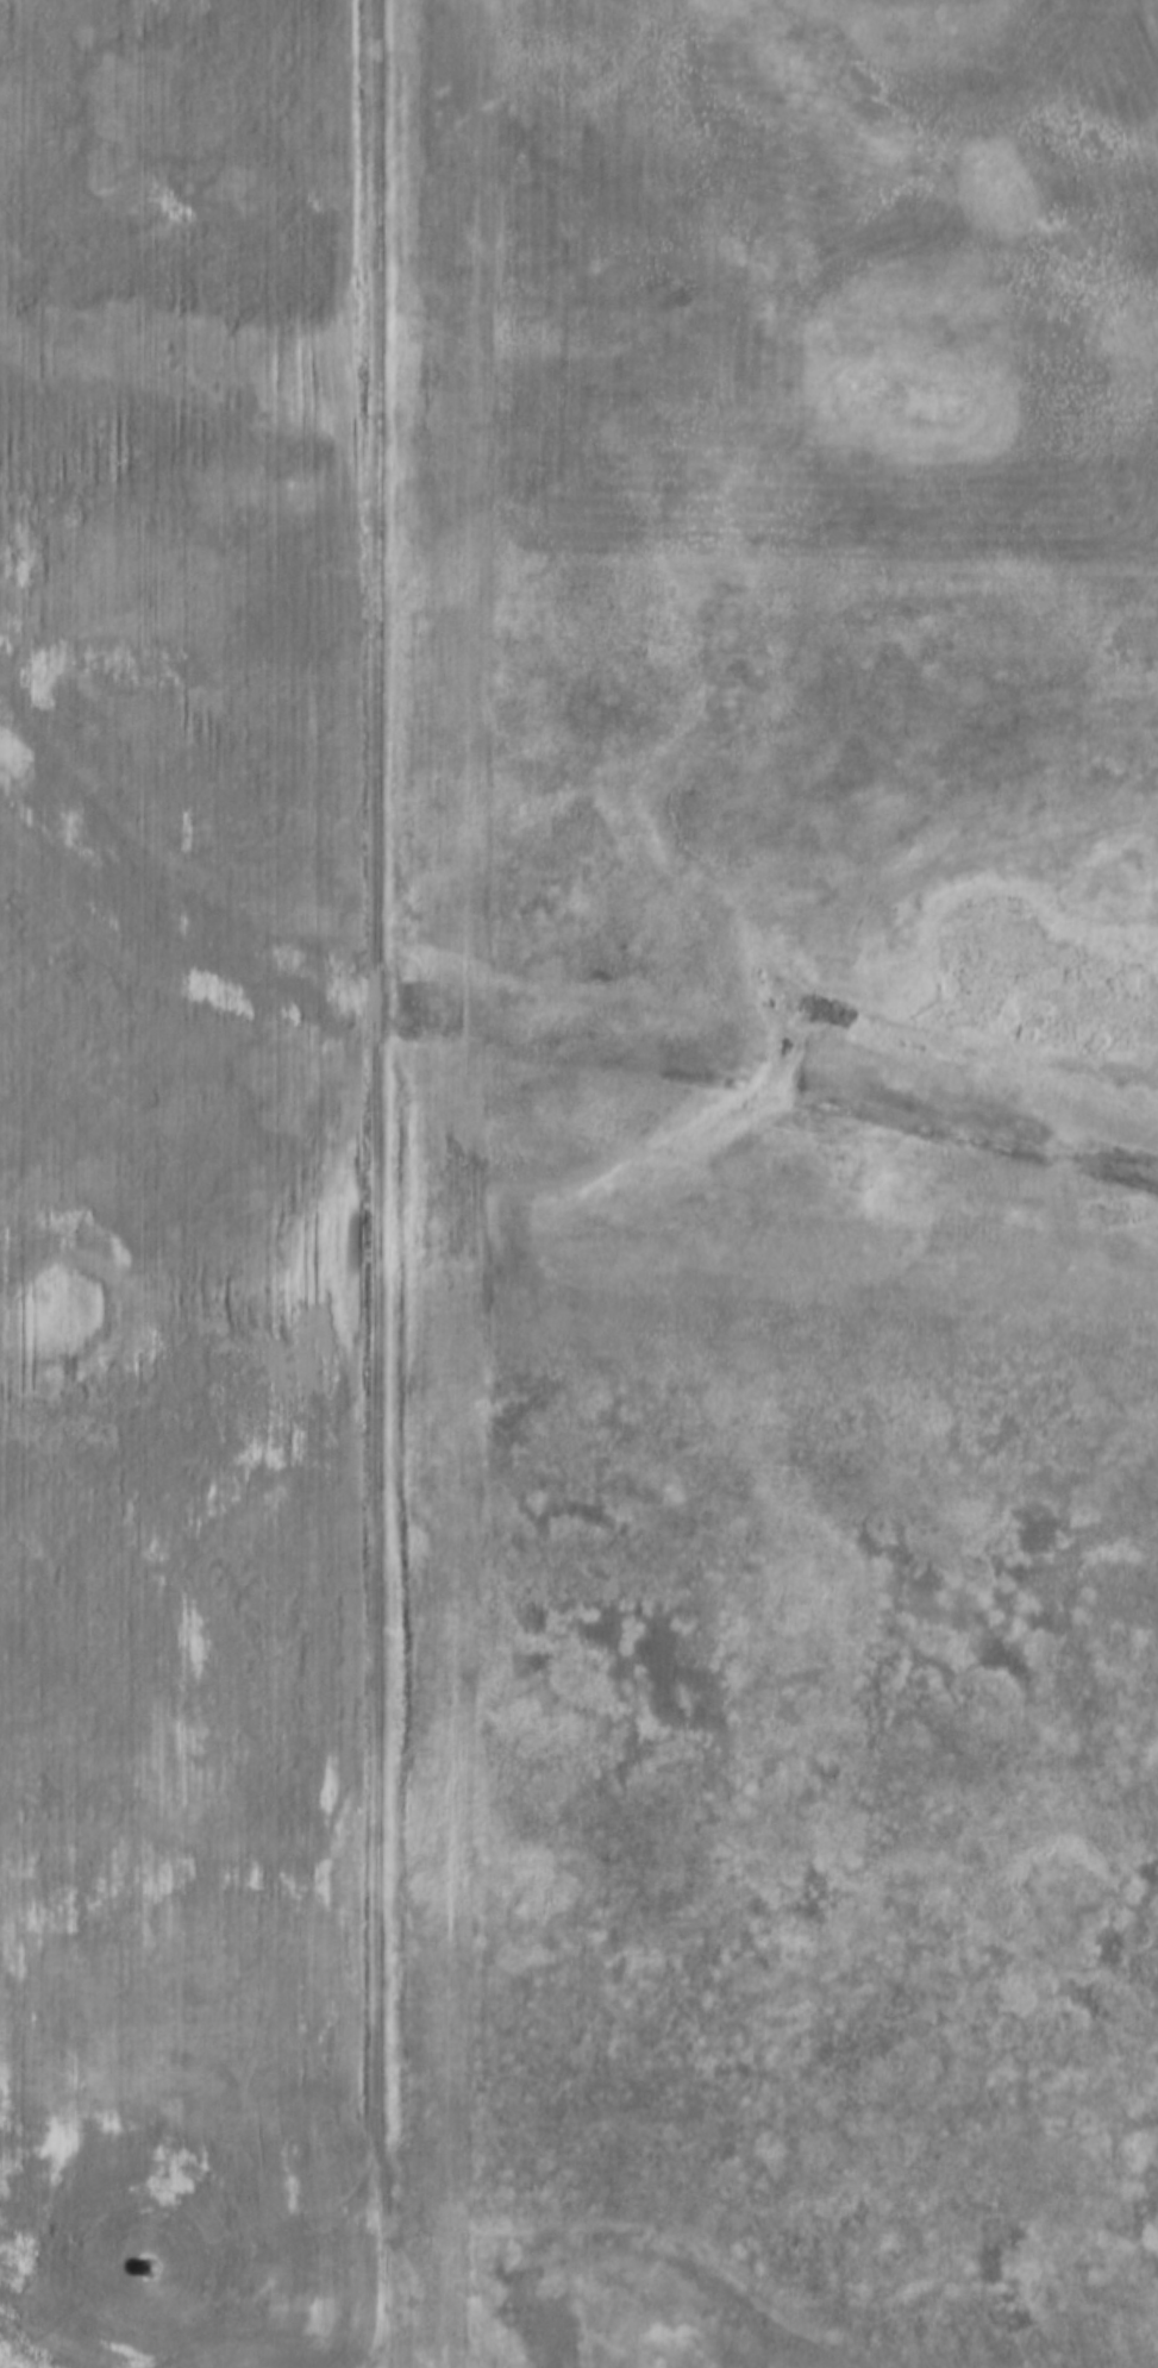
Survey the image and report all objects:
road: (536, 1052)
building: (145, 2269)

